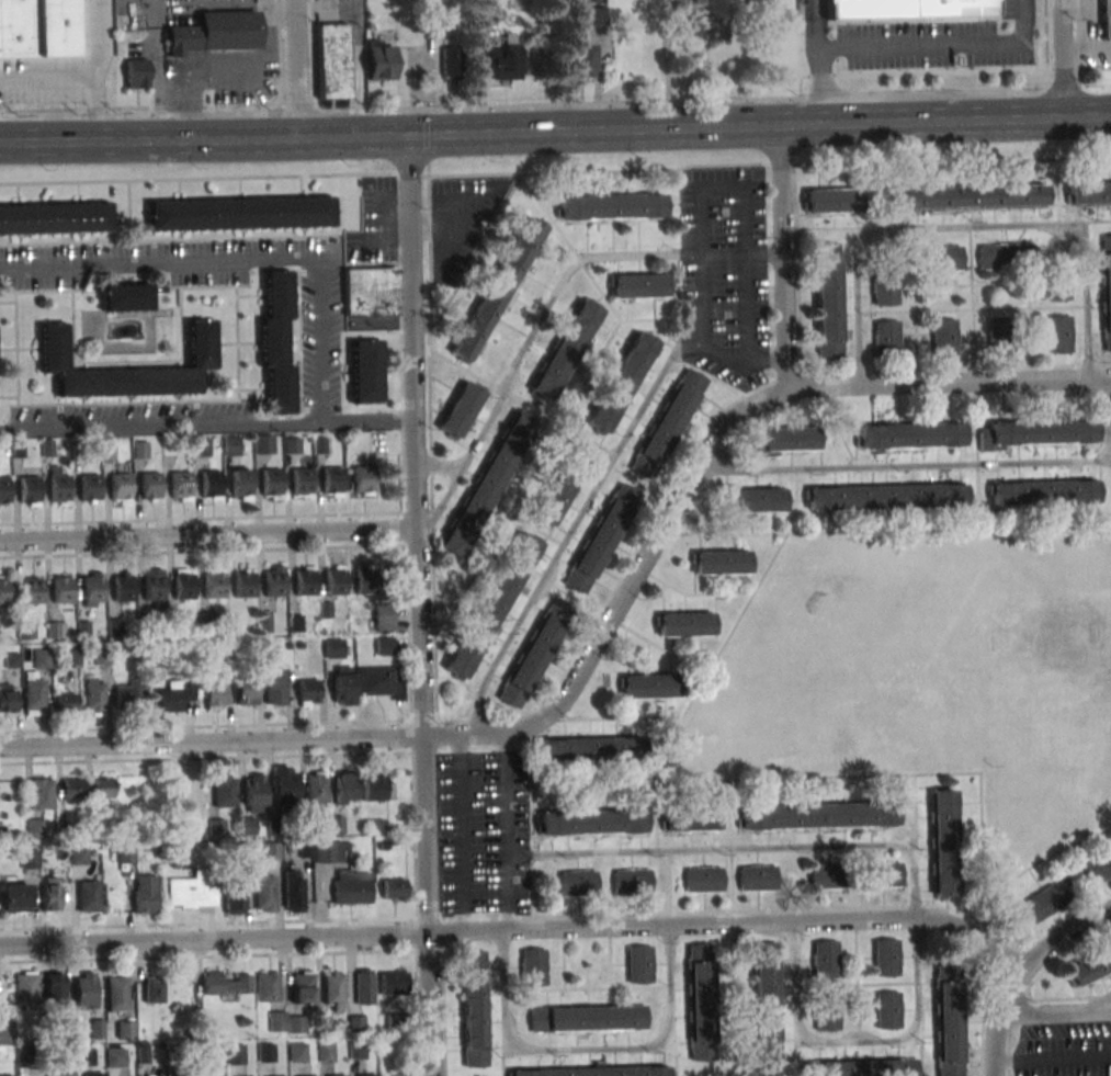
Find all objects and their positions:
building: (906, 8)
building: (688, 9)
building: (587, 15)
building: (1106, 19)
road: (816, 23)
building: (431, 25)
building: (36, 27)
building: (214, 31)
road: (1076, 34)
road: (1044, 35)
road: (97, 39)
road: (354, 44)
road: (940, 46)
road: (313, 55)
road: (280, 56)
building: (332, 60)
building: (379, 60)
building: (579, 61)
road: (1059, 61)
building: (503, 63)
building: (453, 64)
road: (222, 68)
road: (1091, 68)
road: (1061, 69)
road: (292, 71)
building: (136, 72)
road: (82, 80)
road: (819, 88)
road: (532, 106)
road: (555, 137)
building: (1088, 193)
building: (967, 196)
building: (829, 201)
building: (612, 206)
building: (239, 213)
building: (55, 218)
road: (741, 223)
road: (966, 234)
building: (1006, 256)
building: (942, 257)
road: (241, 259)
road: (782, 261)
building: (639, 285)
building: (497, 290)
building: (884, 290)
building: (1056, 290)
building: (1104, 291)
building: (371, 292)
building: (125, 297)
building: (828, 302)
road: (699, 305)
road: (545, 309)
building: (1057, 333)
building: (886, 336)
building: (999, 336)
building: (944, 337)
building: (276, 341)
building: (53, 346)
building: (564, 350)
building: (365, 371)
building: (621, 382)
building: (461, 410)
building: (667, 424)
road: (206, 431)
building: (1042, 433)
building: (908, 437)
building: (787, 440)
building: (263, 443)
building: (292, 444)
building: (231, 445)
building: (201, 446)
building: (140, 450)
road: (704, 456)
road: (943, 465)
road: (435, 467)
building: (361, 479)
building: (330, 480)
building: (301, 482)
building: (209, 483)
building: (239, 483)
building: (271, 483)
building: (180, 485)
building: (487, 485)
building: (149, 486)
building: (118, 487)
building: (89, 488)
building: (29, 489)
building: (58, 489)
building: (3, 490)
building: (1043, 494)
building: (555, 496)
building: (886, 498)
road: (442, 501)
building: (755, 501)
road: (582, 511)
road: (208, 533)
building: (601, 539)
building: (719, 564)
building: (364, 580)
building: (304, 582)
building: (333, 582)
building: (274, 584)
building: (243, 585)
building: (214, 586)
building: (182, 587)
building: (122, 588)
building: (152, 588)
building: (92, 589)
building: (60, 590)
building: (31, 591)
building: (5, 592)
building: (491, 607)
road: (420, 609)
building: (384, 615)
building: (683, 625)
building: (25, 630)
building: (56, 630)
building: (384, 645)
building: (333, 647)
building: (533, 654)
park: (925, 678)
building: (379, 682)
building: (275, 686)
building: (343, 686)
building: (647, 688)
building: (127, 692)
building: (246, 692)
building: (308, 692)
building: (34, 693)
building: (94, 694)
building: (215, 694)
building: (173, 695)
building: (8, 698)
building: (65, 702)
road: (477, 713)
road: (217, 726)
road: (212, 740)
building: (589, 750)
building: (285, 784)
building: (316, 785)
building: (103, 786)
building: (345, 786)
building: (373, 786)
building: (72, 788)
building: (224, 791)
building: (42, 793)
road: (505, 793)
building: (252, 803)
building: (816, 817)
building: (690, 820)
building: (591, 824)
building: (34, 827)
road: (458, 833)
building: (943, 842)
road: (757, 848)
building: (271, 850)
building: (330, 852)
building: (78, 856)
building: (30, 859)
building: (1096, 870)
road: (501, 875)
building: (882, 875)
building: (828, 876)
building: (756, 879)
building: (703, 881)
building: (632, 883)
building: (577, 884)
building: (352, 886)
building: (393, 888)
building: (293, 890)
building: (191, 892)
building: (264, 892)
building: (50, 893)
building: (145, 893)
building: (89, 895)
building: (15, 896)
building: (234, 899)
building: (1048, 899)
road: (732, 924)
road: (214, 938)
building: (887, 956)
building: (826, 959)
building: (639, 964)
building: (1089, 964)
building: (534, 967)
road: (1022, 973)
building: (226, 983)
building: (394, 983)
building: (53, 986)
building: (268, 986)
building: (302, 986)
building: (364, 987)
building: (25, 989)
building: (84, 989)
building: (333, 989)
building: (152, 990)
building: (116, 994)
building: (701, 1001)
building: (769, 1001)
road: (1102, 1004)
building: (475, 1008)
building: (888, 1009)
road: (1056, 1011)
building: (588, 1018)
building: (949, 1019)
building: (827, 1021)
building: (325, 1024)
building: (125, 1030)
building: (5, 1032)
road: (857, 1042)
building: (143, 1052)
building: (265, 1052)
building: (296, 1052)
building: (326, 1052)
building: (235, 1054)
road: (585, 1055)
building: (84, 1056)
building: (115, 1057)
road: (1053, 1063)
building: (869, 1067)
building: (592, 1072)
building: (7, 1075)
building: (64, 1075)
building: (94, 1075)
building: (307, 1075)
building: (336, 1075)
building: (366, 1075)
building: (396, 1075)

